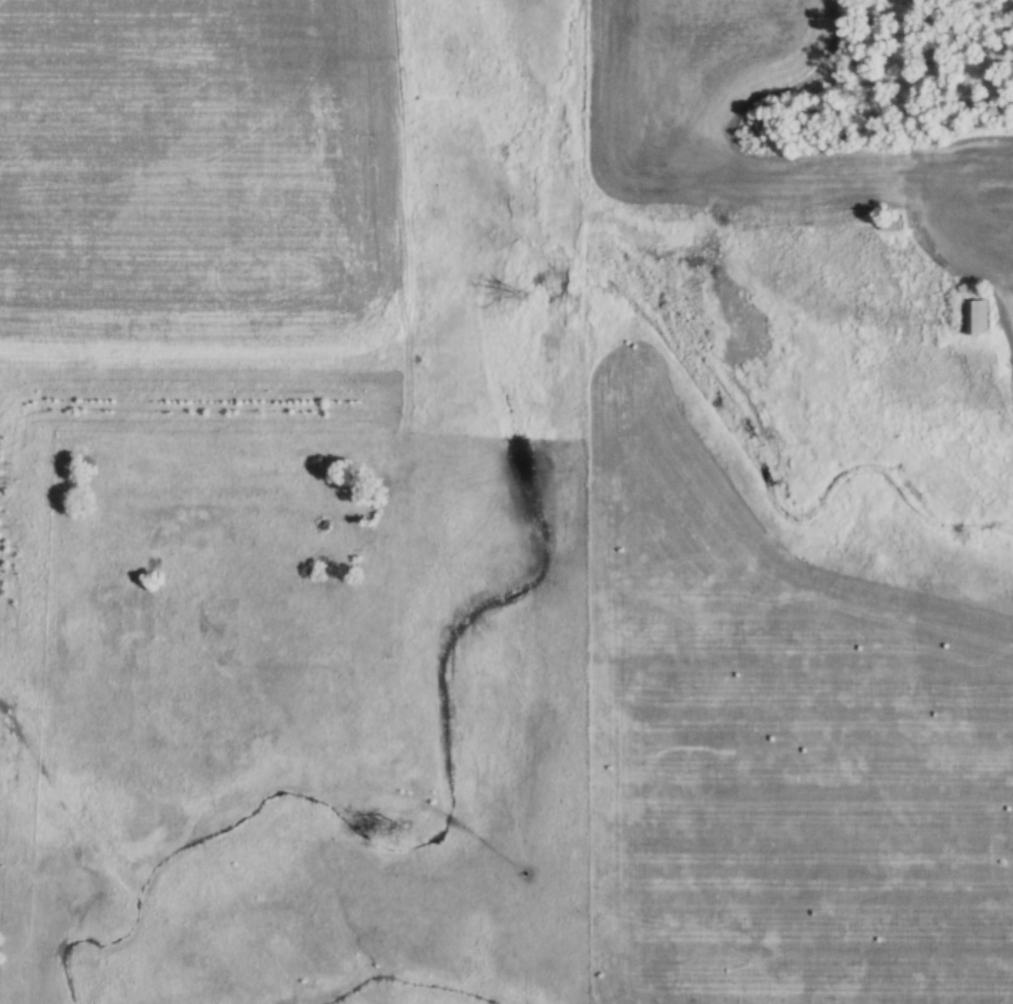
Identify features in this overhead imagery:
building: (891, 224)

